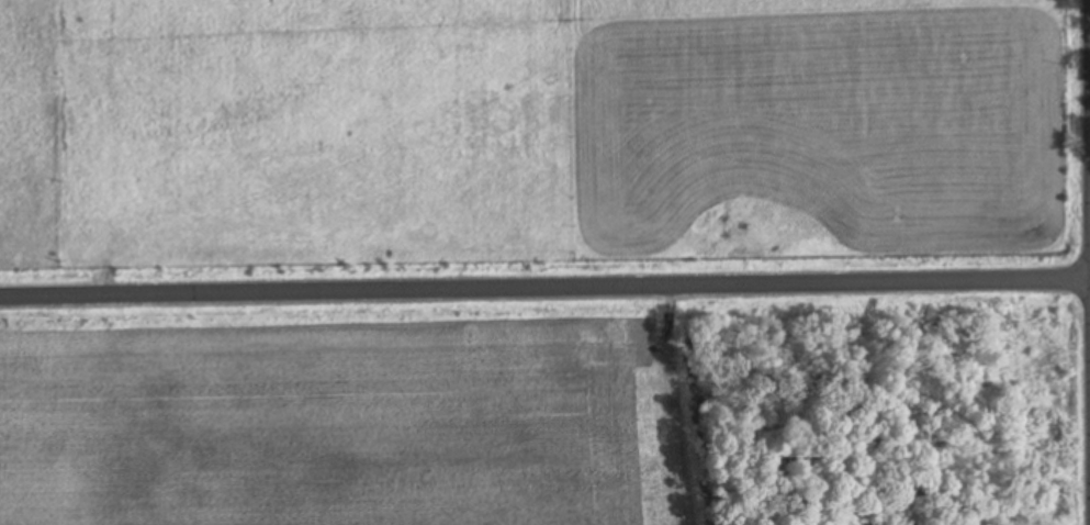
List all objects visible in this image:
road: (544, 288)

